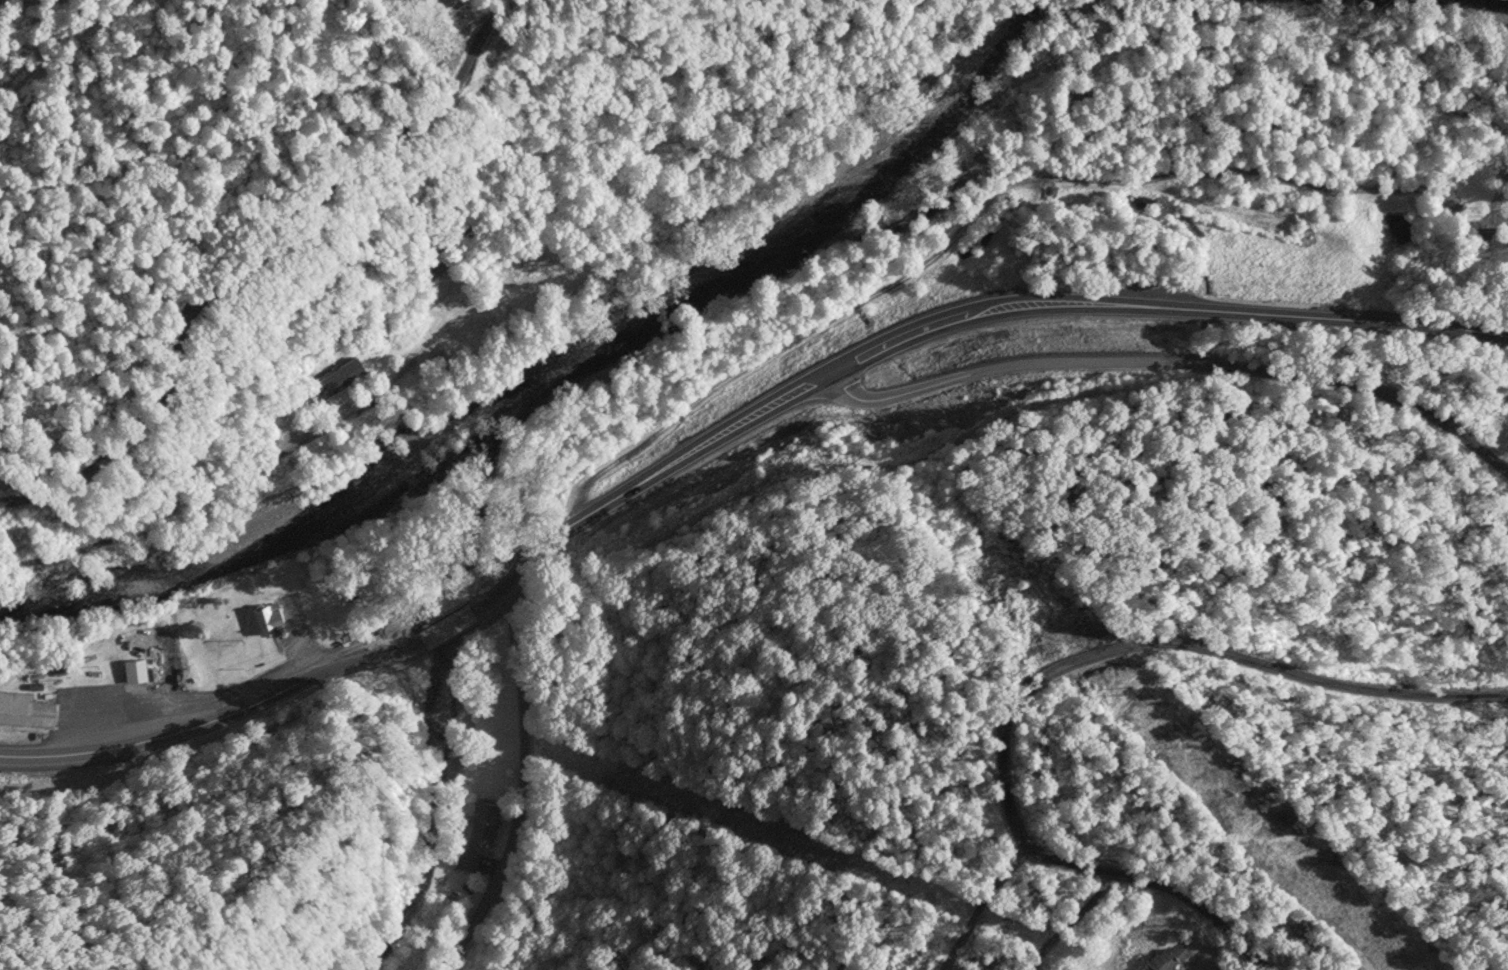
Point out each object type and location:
road: (251, 253)
road: (928, 261)
road: (960, 319)
river: (577, 356)
road: (1171, 362)
building: (335, 376)
road: (453, 596)
building: (267, 621)
road: (1249, 661)
building: (134, 671)
building: (25, 713)
road: (225, 719)
road: (522, 773)
building: (478, 837)
road: (1088, 871)
building: (1167, 958)

